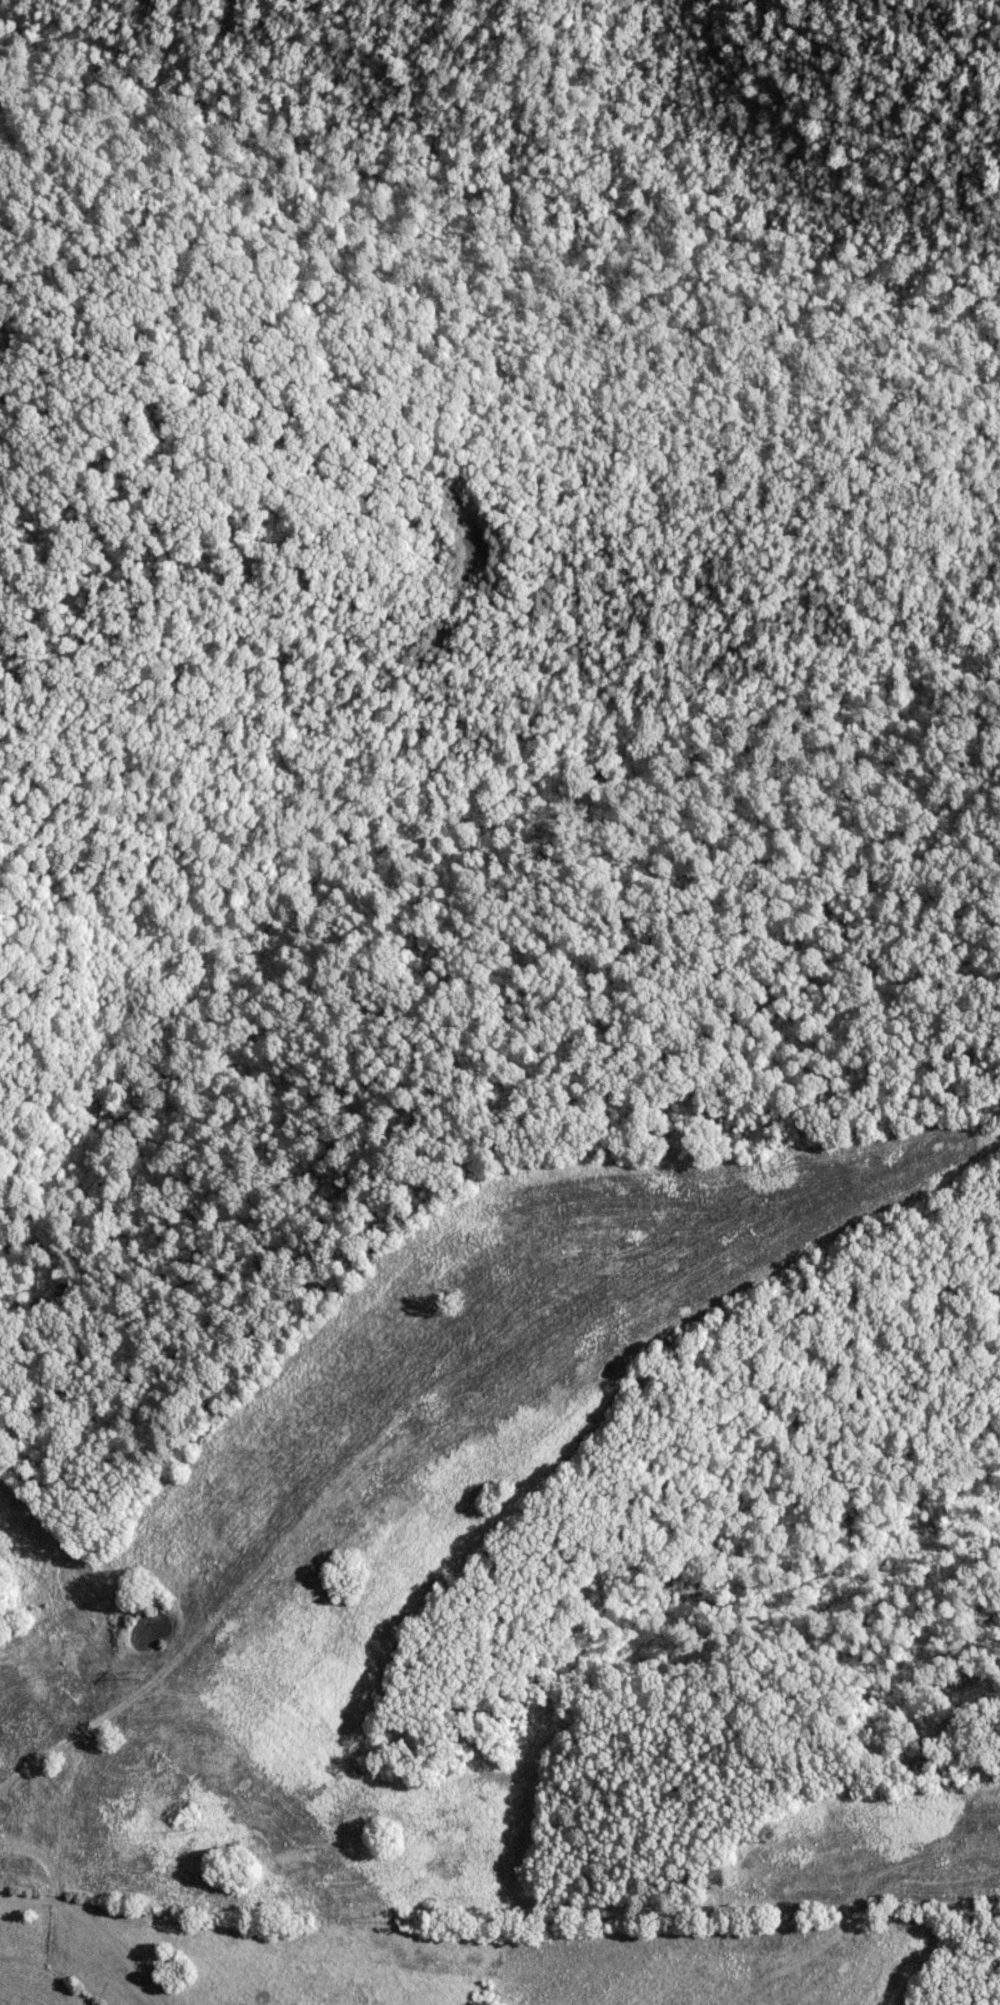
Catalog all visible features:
power tower: (138, 1673)

